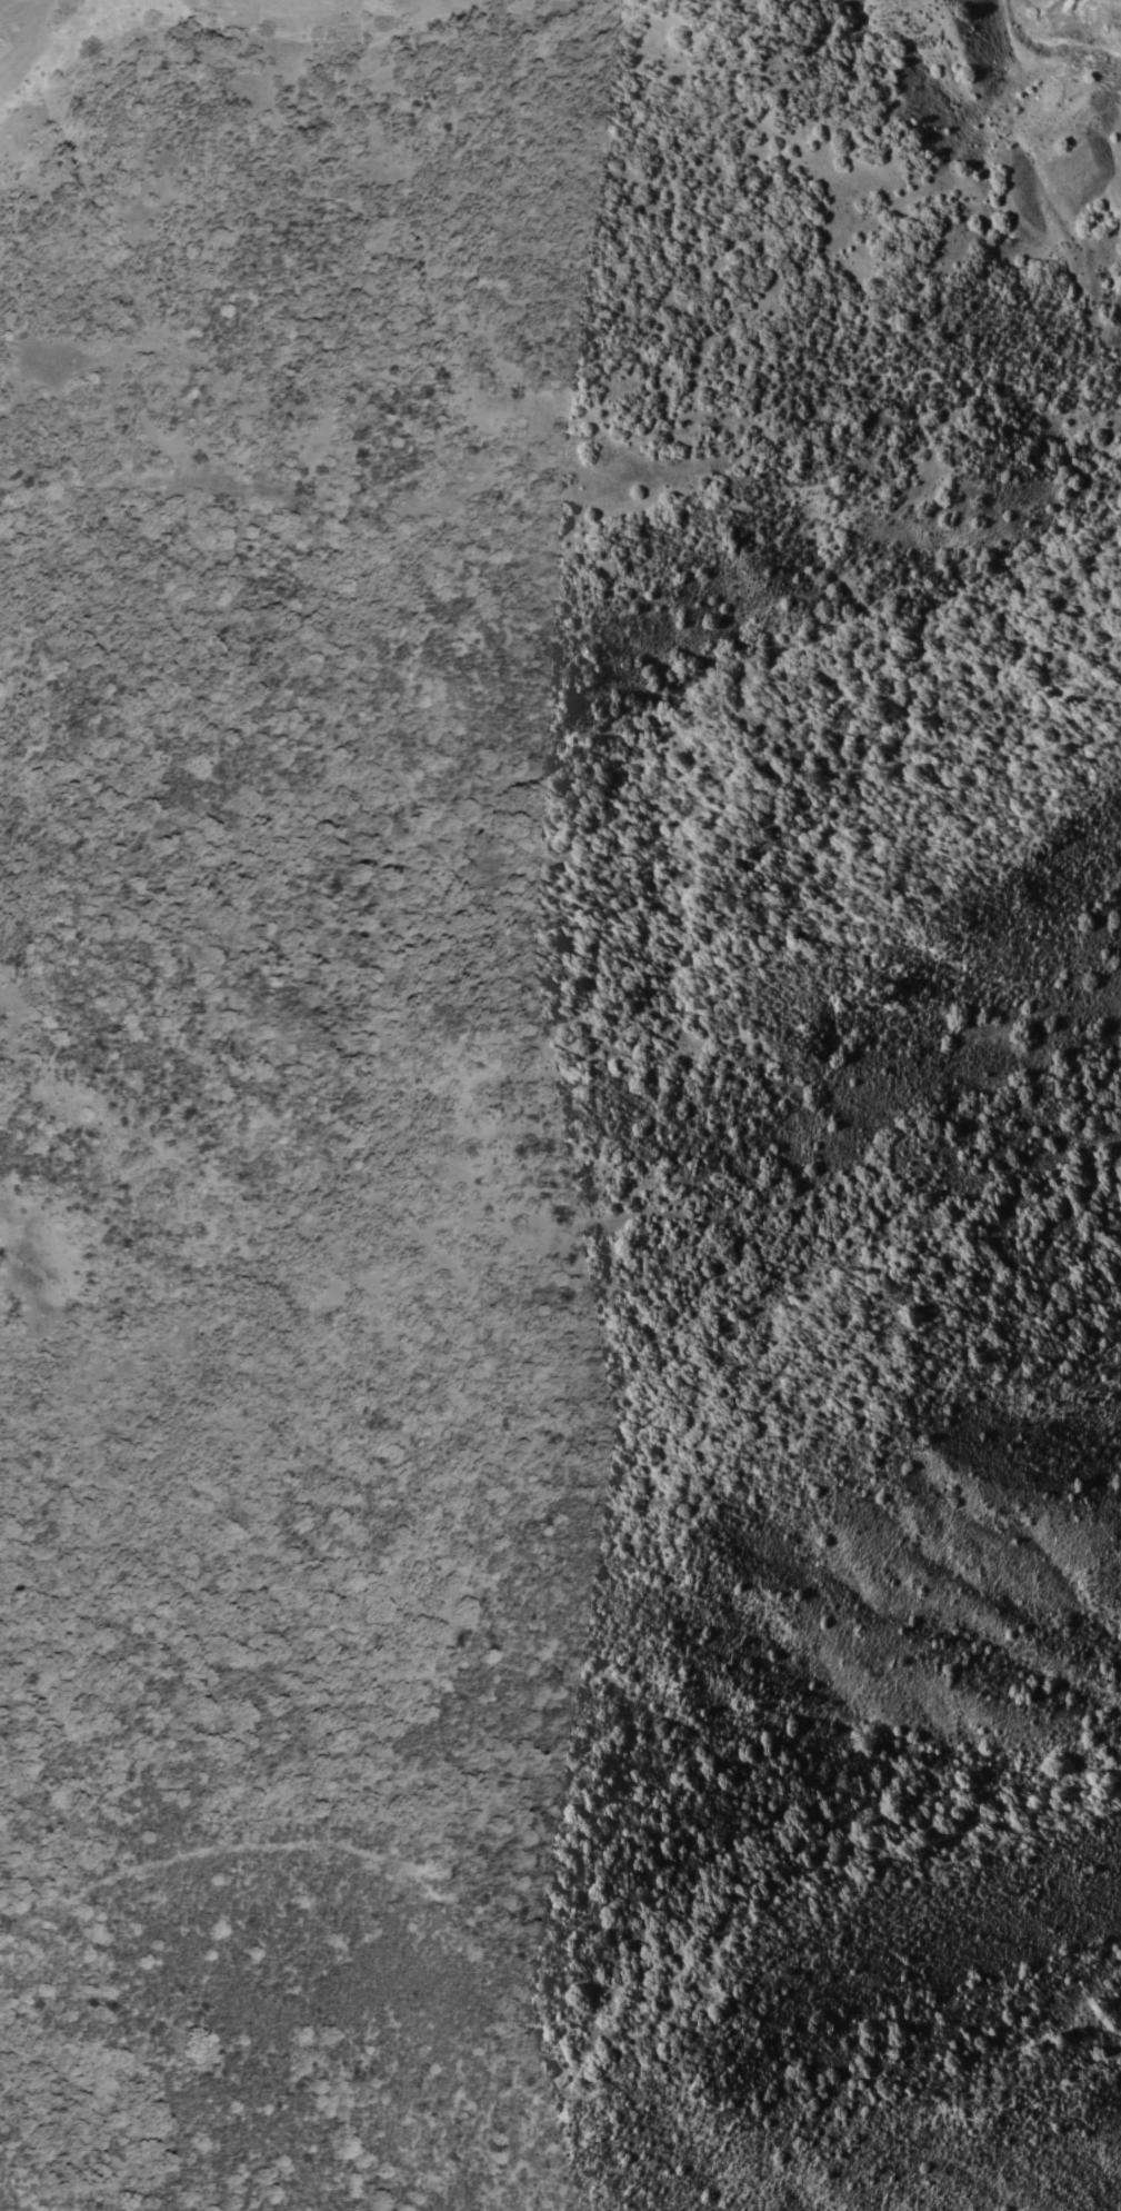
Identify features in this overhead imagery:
road: (1097, 50)

